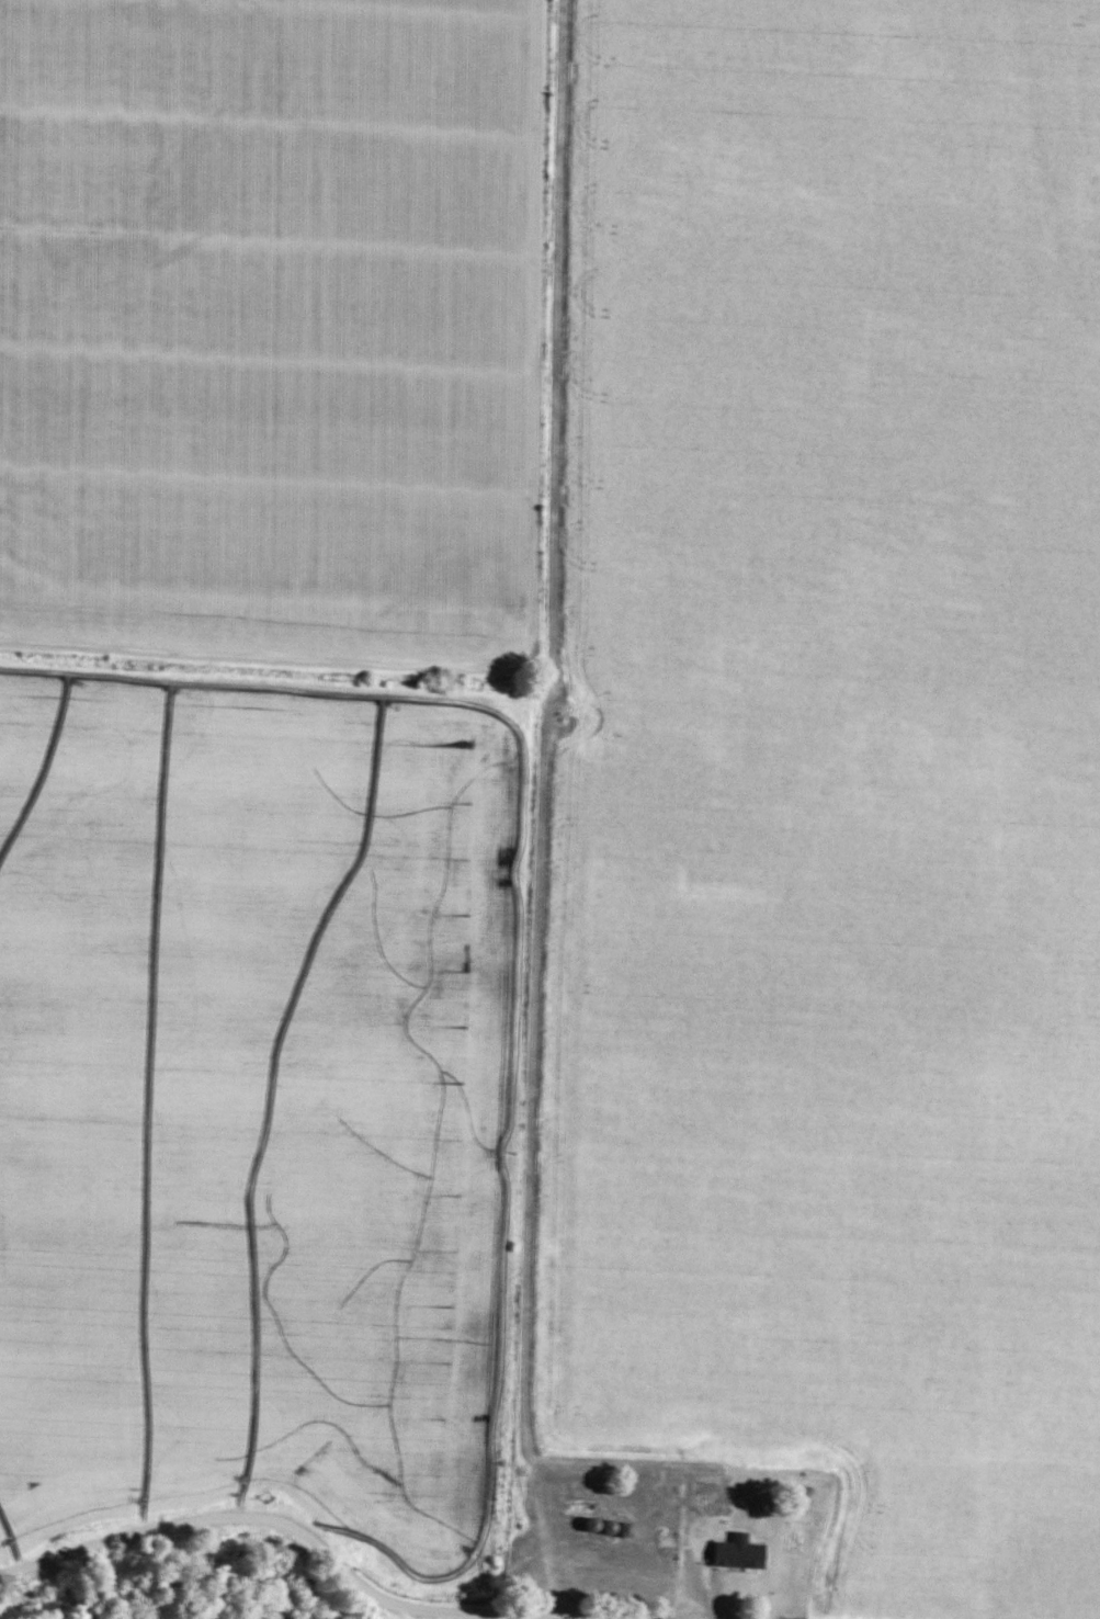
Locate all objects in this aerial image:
road: (536, 952)
building: (706, 1497)
building: (661, 1525)
road: (307, 1536)
building: (730, 1552)
road: (623, 1572)

